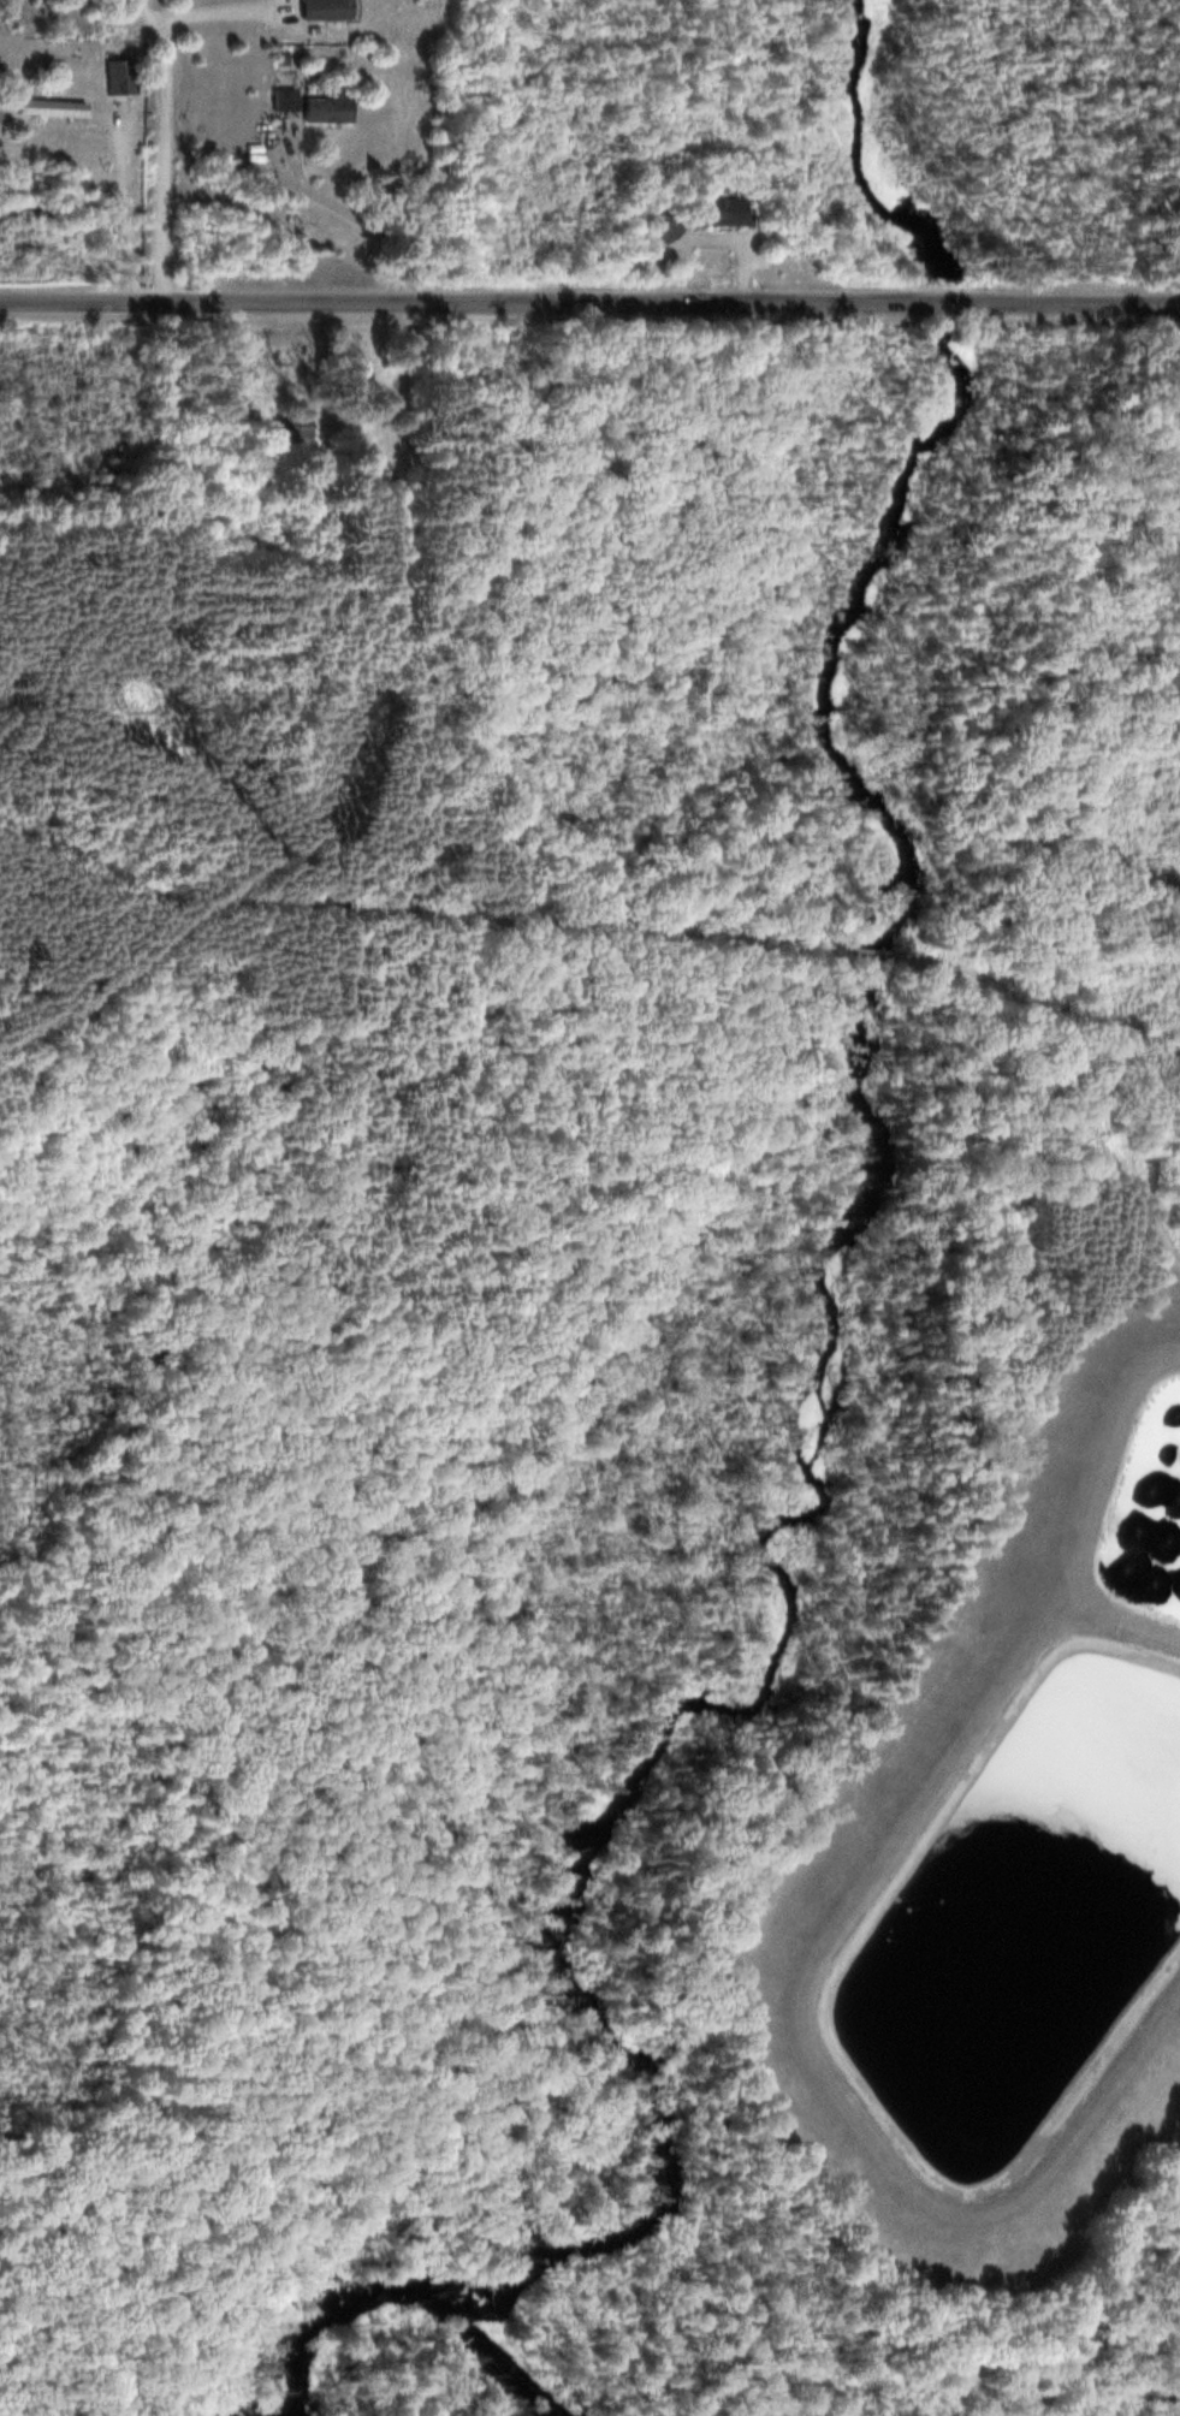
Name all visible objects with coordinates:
building: (316, 8)
building: (114, 76)
building: (279, 99)
building: (45, 107)
building: (322, 107)
road: (164, 148)
building: (716, 212)
road: (589, 303)
road: (319, 396)
road: (396, 399)
building: (298, 426)
road: (226, 799)
road: (391, 888)
road: (165, 932)
road: (884, 952)
road: (1063, 1078)
wastewater plant: (1000, 1854)

